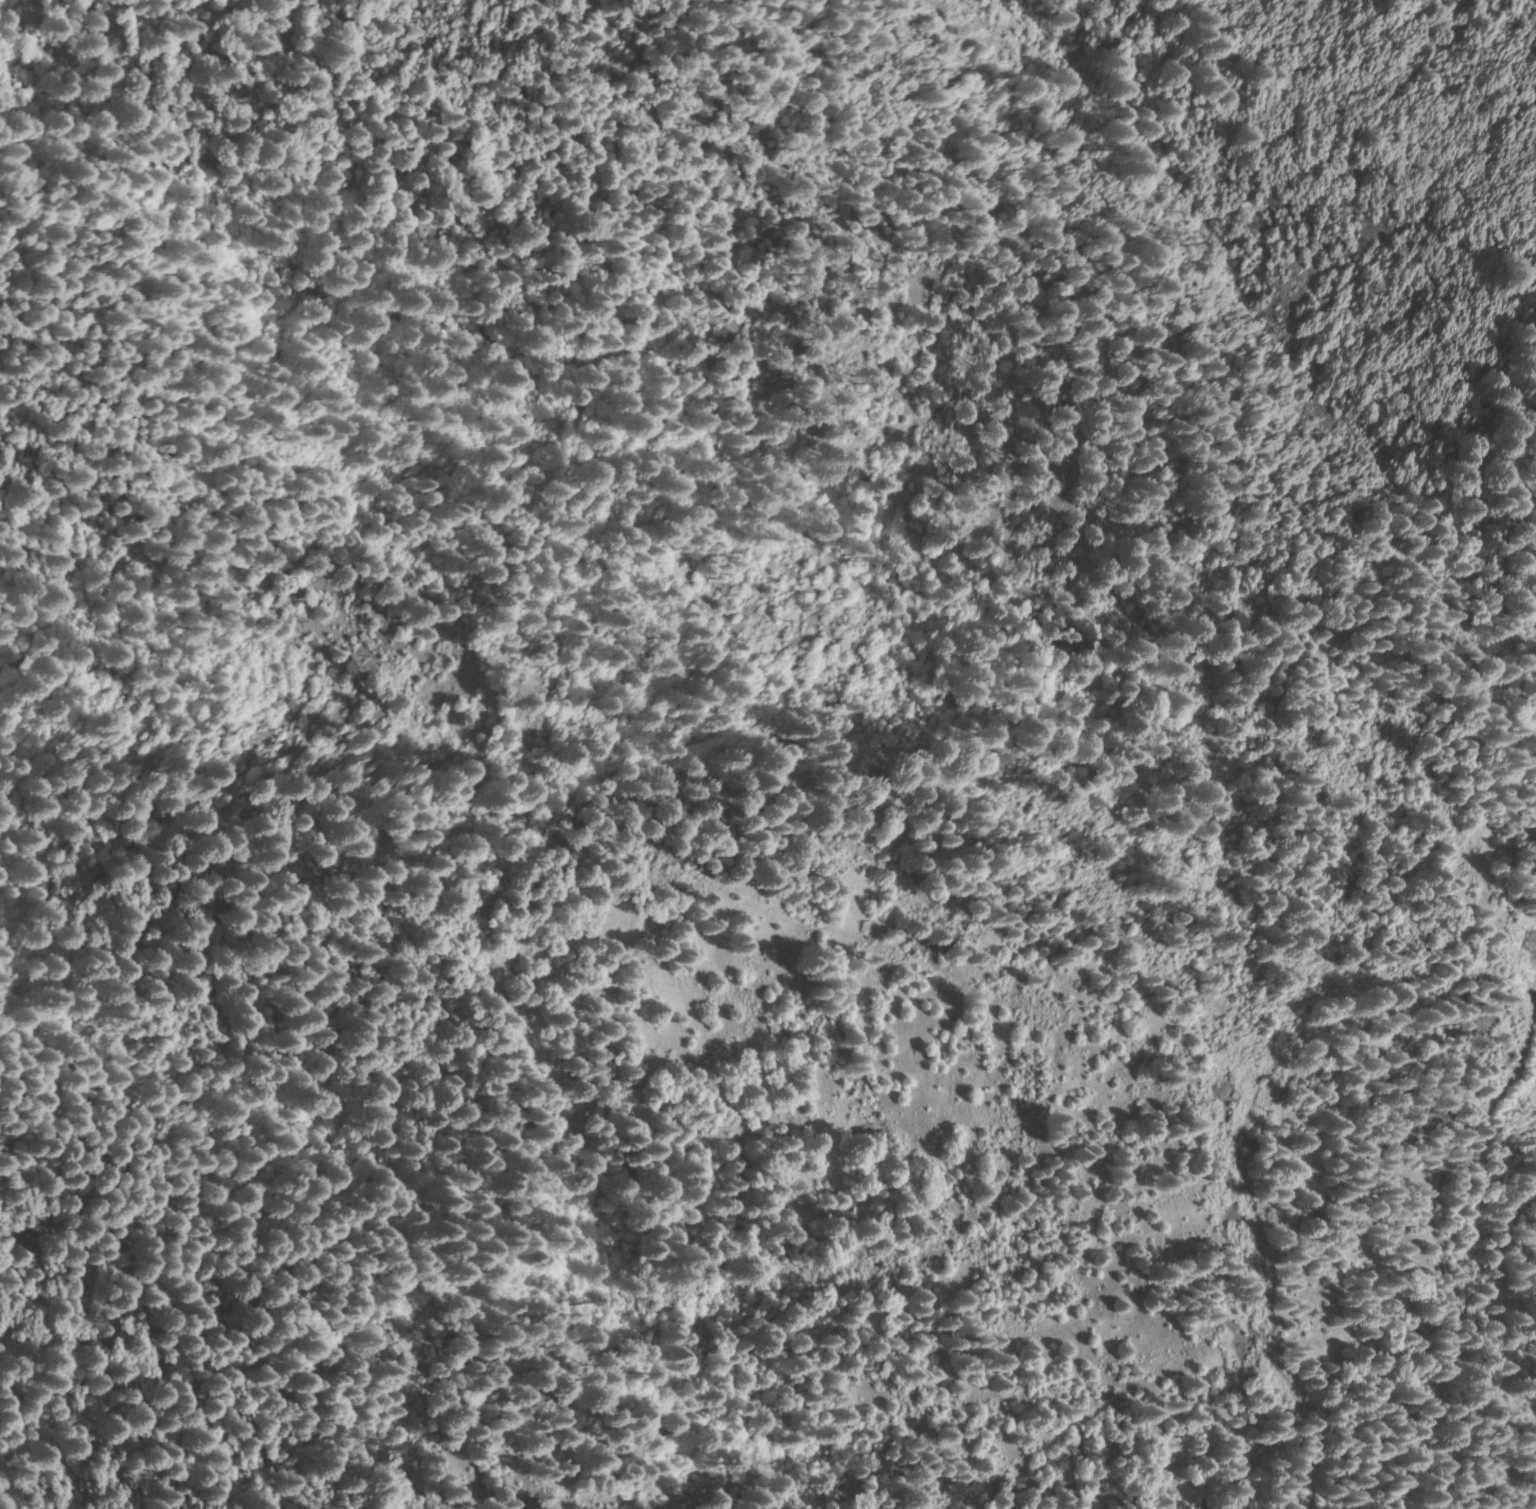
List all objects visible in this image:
road: (1475, 1353)

